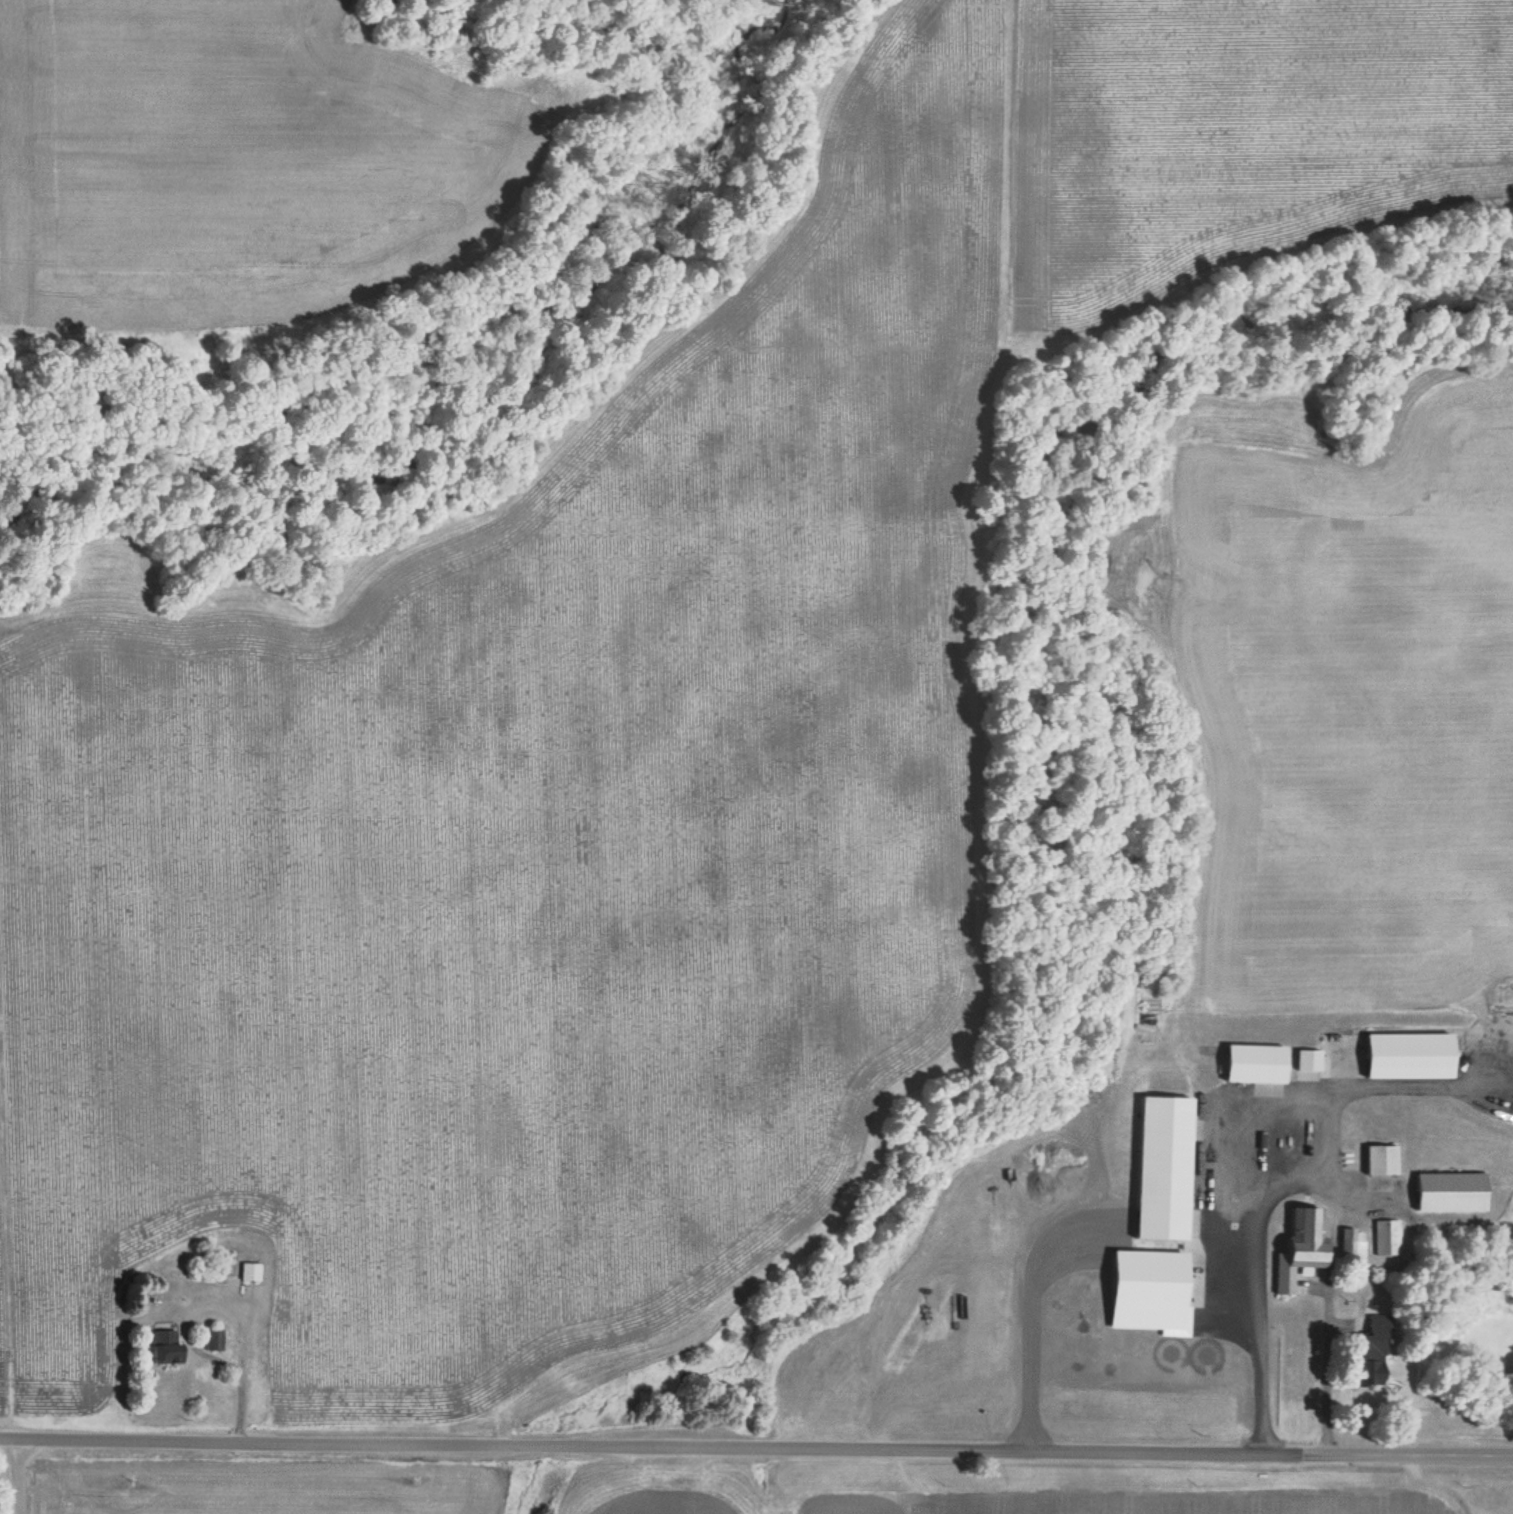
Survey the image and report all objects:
building: (1410, 1056)
building: (1381, 1159)
building: (1164, 1168)
building: (1450, 1191)
building: (1386, 1236)
building: (1352, 1243)
building: (1303, 1244)
building: (250, 1271)
building: (214, 1339)
building: (166, 1346)
building: (1374, 1349)
road: (756, 1434)
road: (9, 1479)

